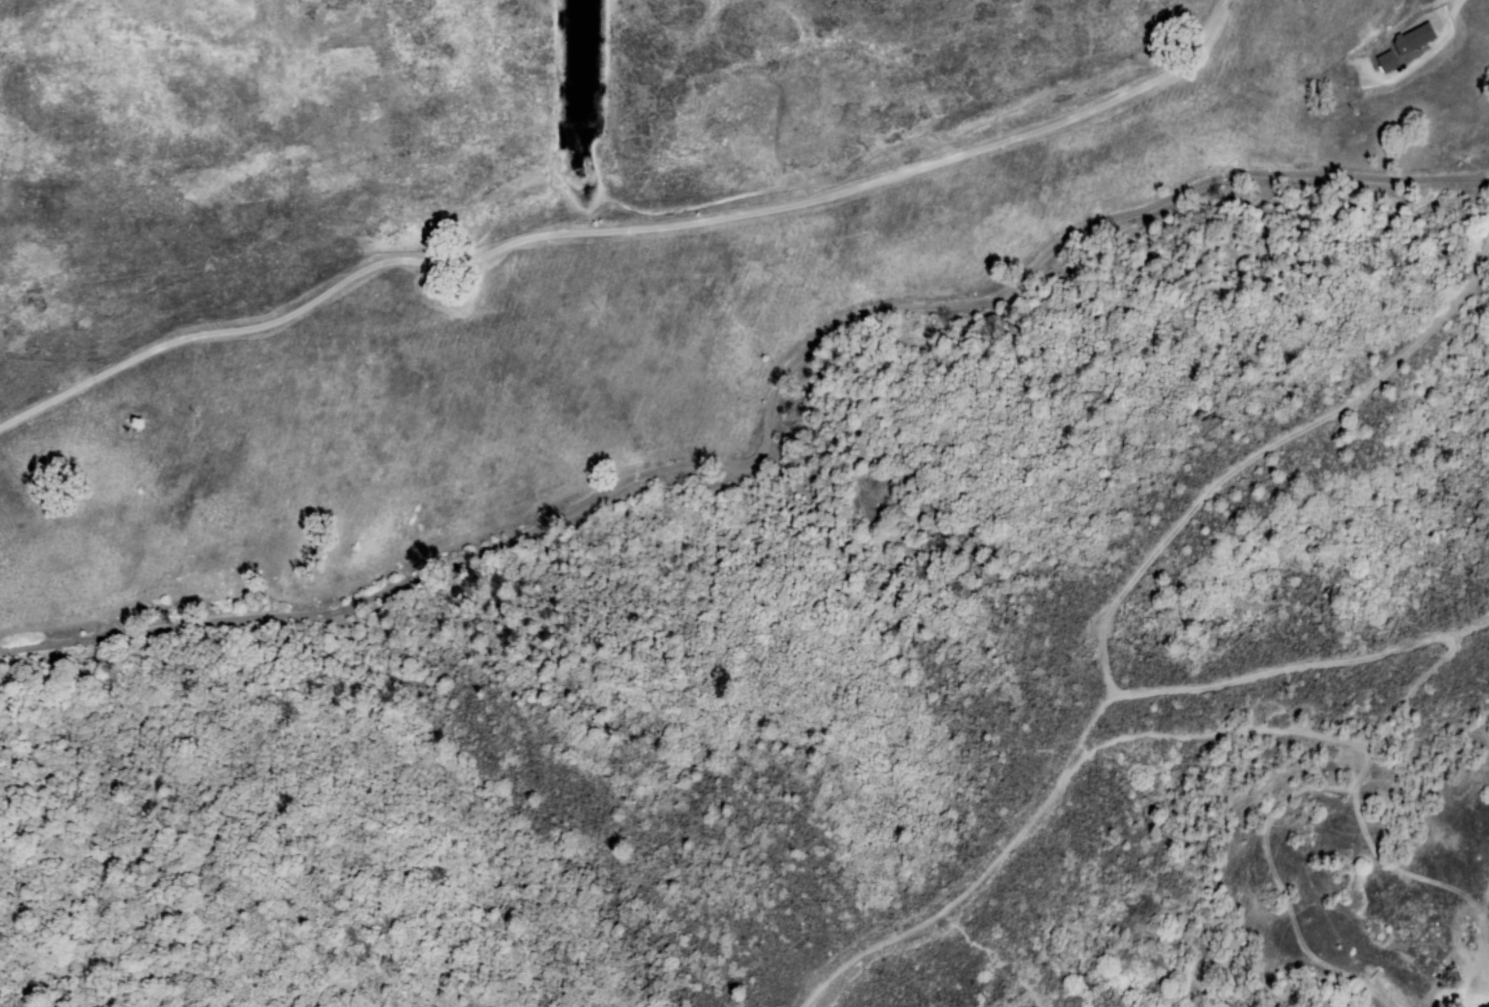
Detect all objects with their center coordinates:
road: (1404, 4)
building: (1414, 39)
building: (1387, 62)
road: (775, 415)

